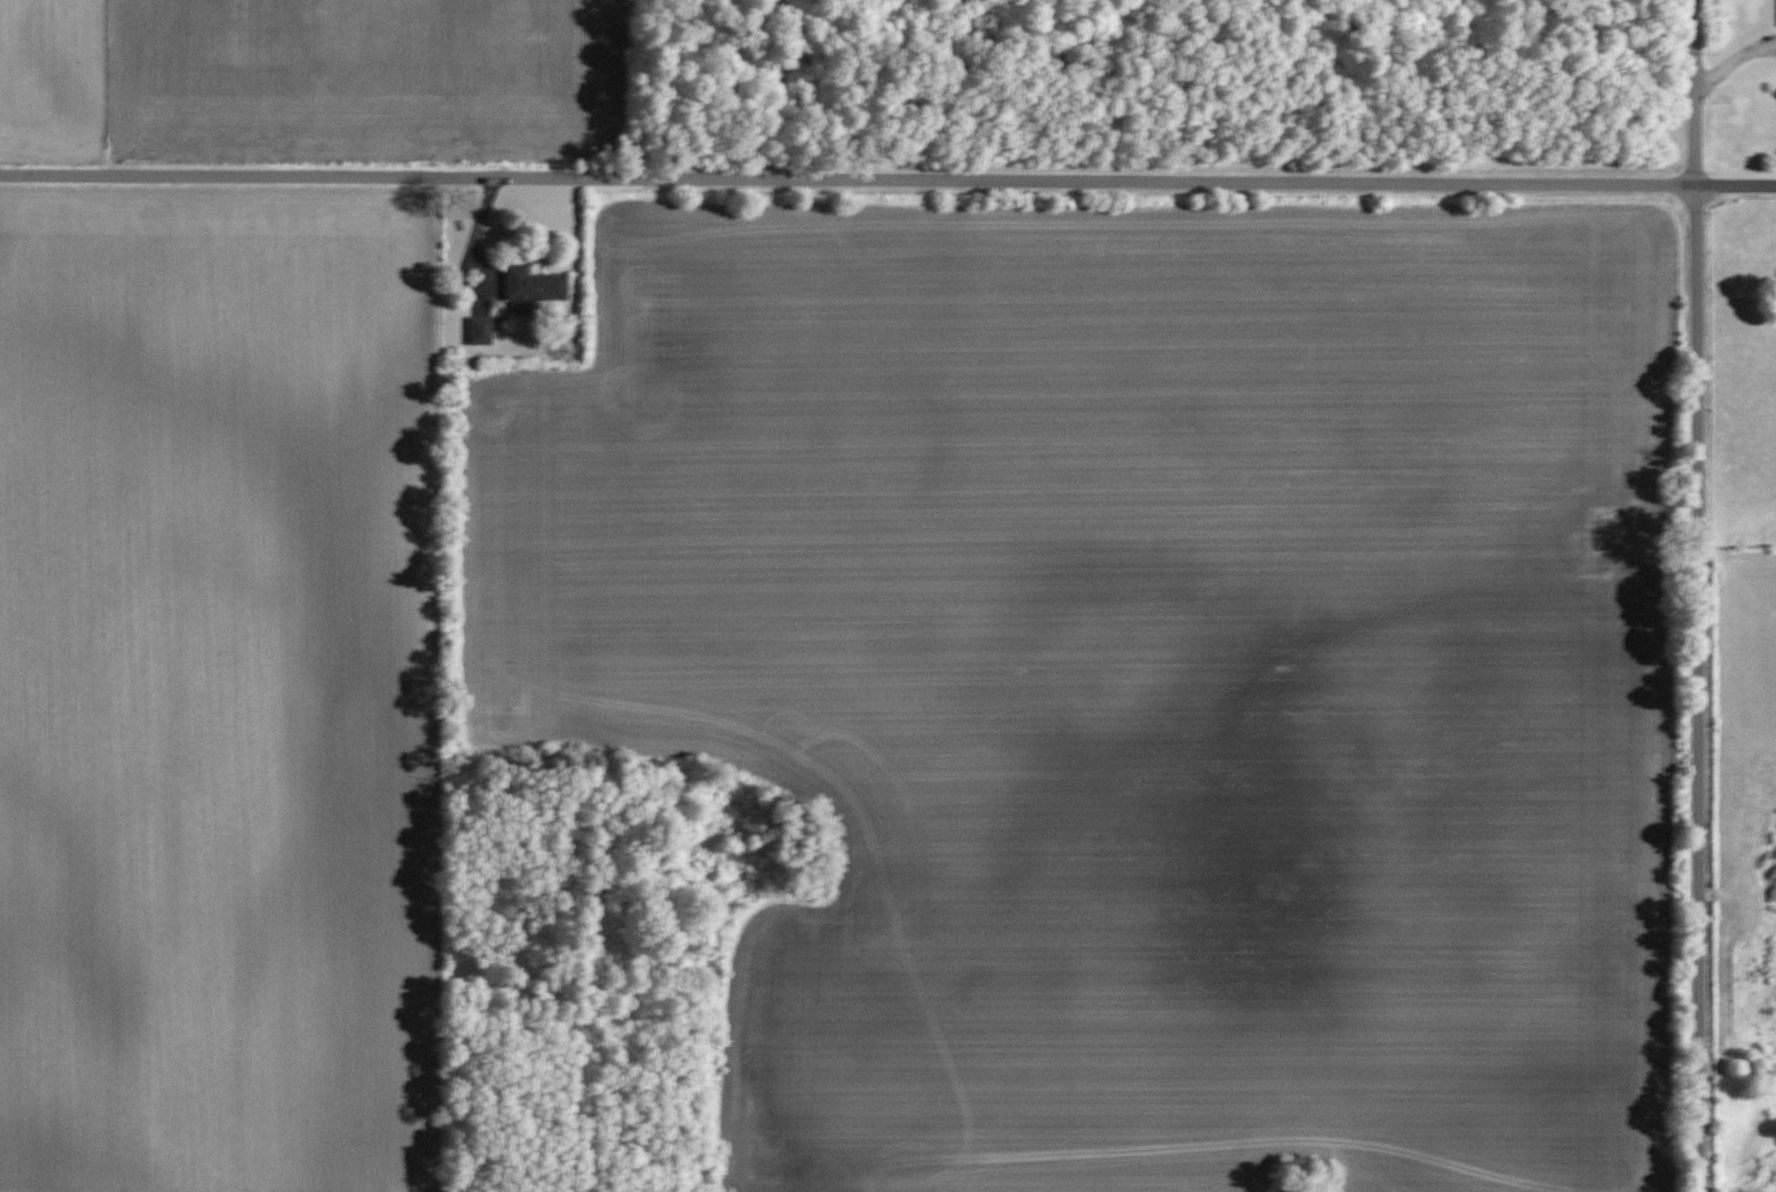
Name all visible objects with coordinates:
road: (1733, 60)
road: (888, 180)
building: (533, 288)
building: (482, 329)
road: (1698, 595)

